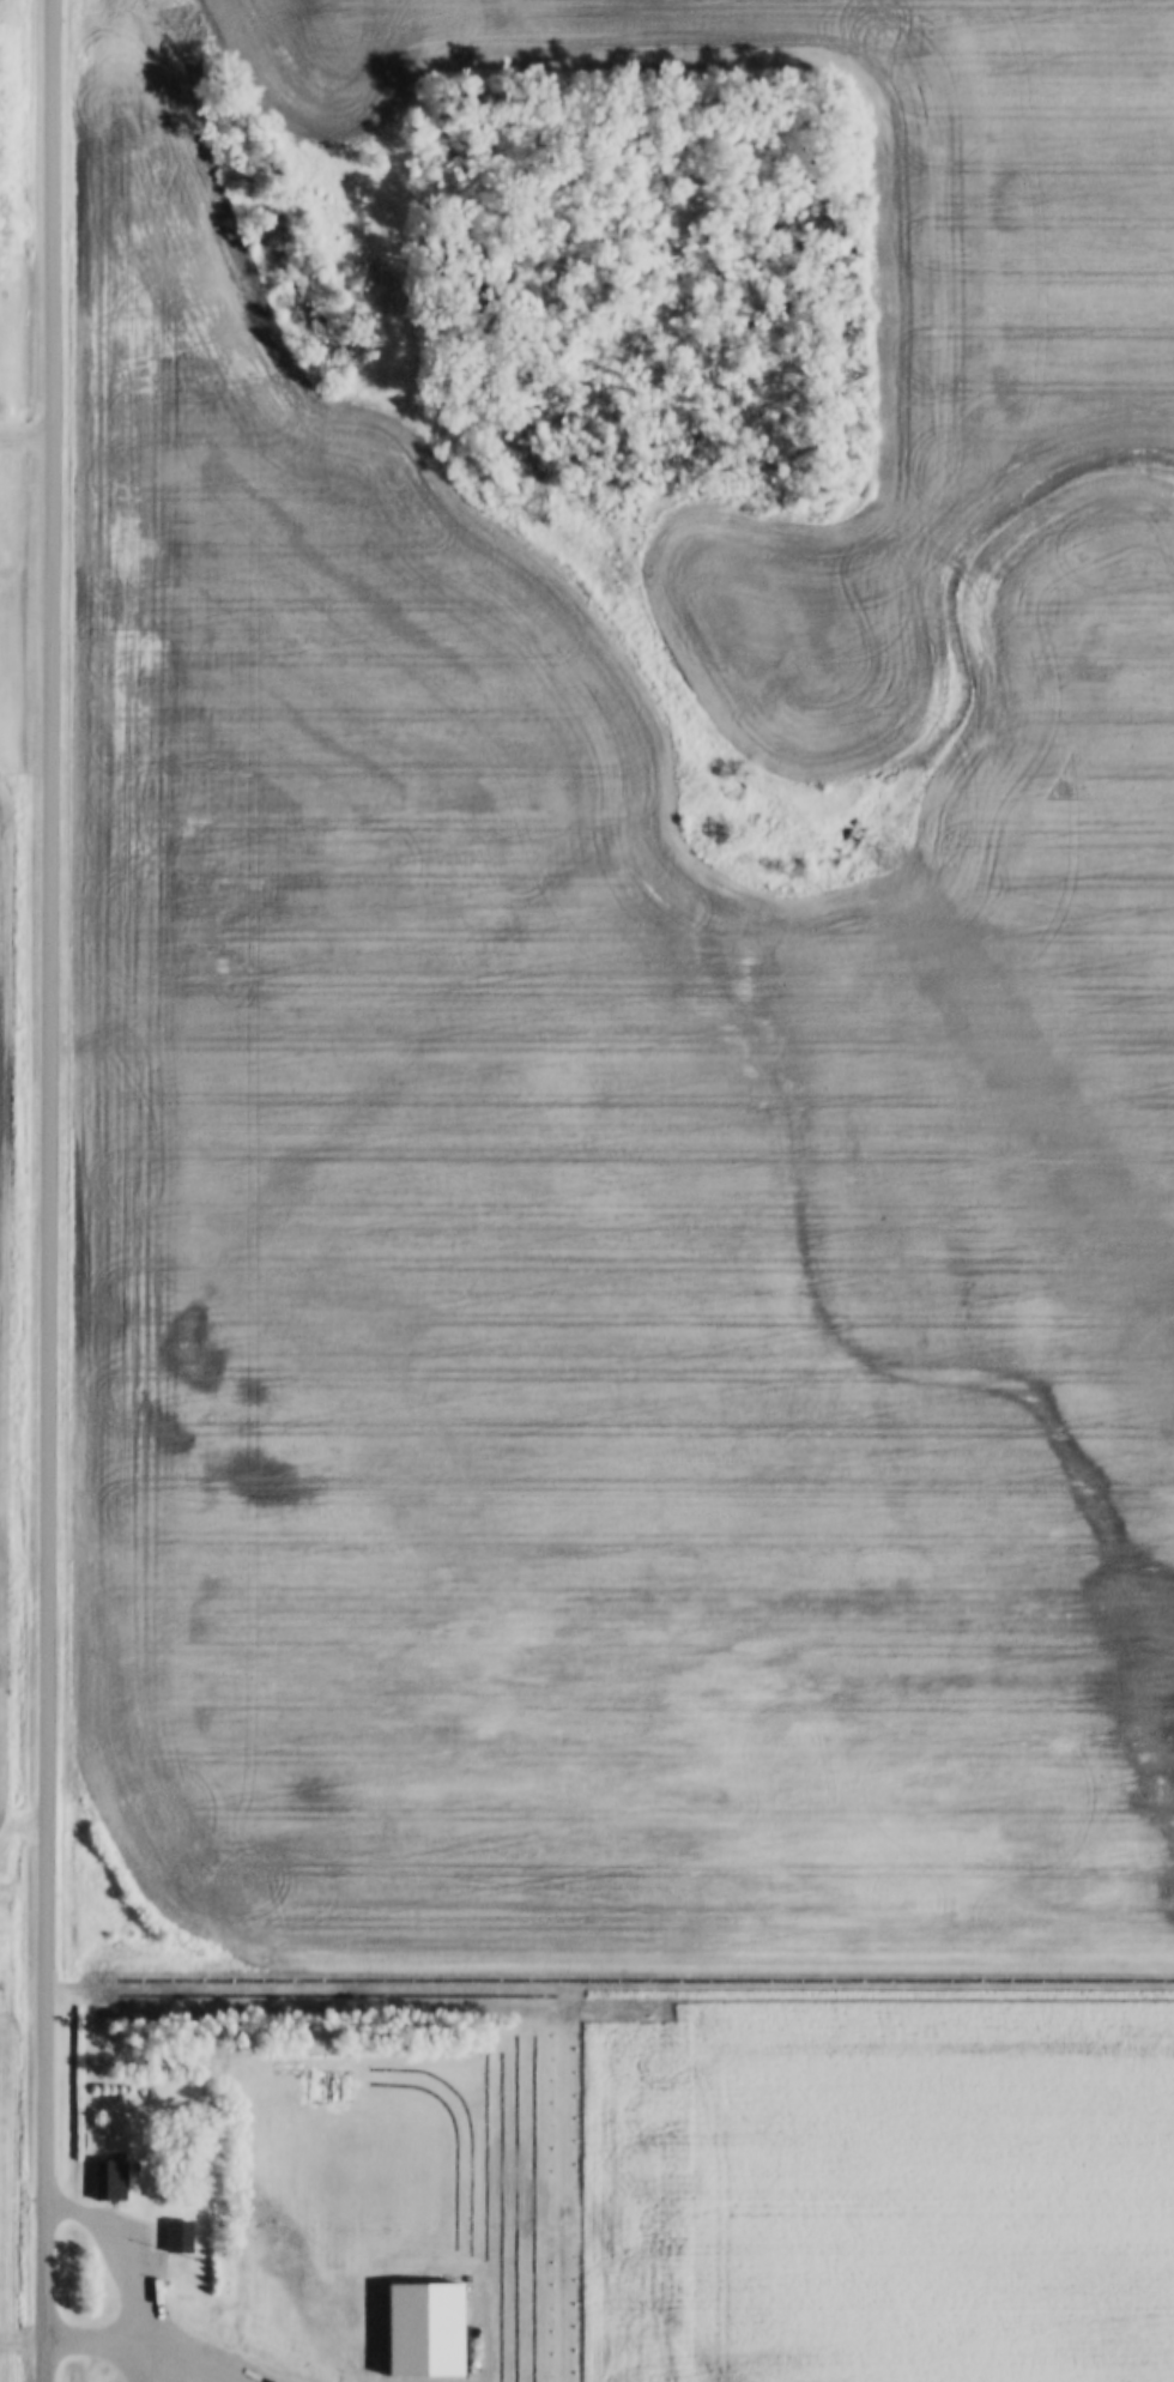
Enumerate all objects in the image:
road: (28, 433)
road: (50, 1190)
building: (113, 2178)
building: (181, 2235)
road: (144, 2289)
road: (25, 2340)

